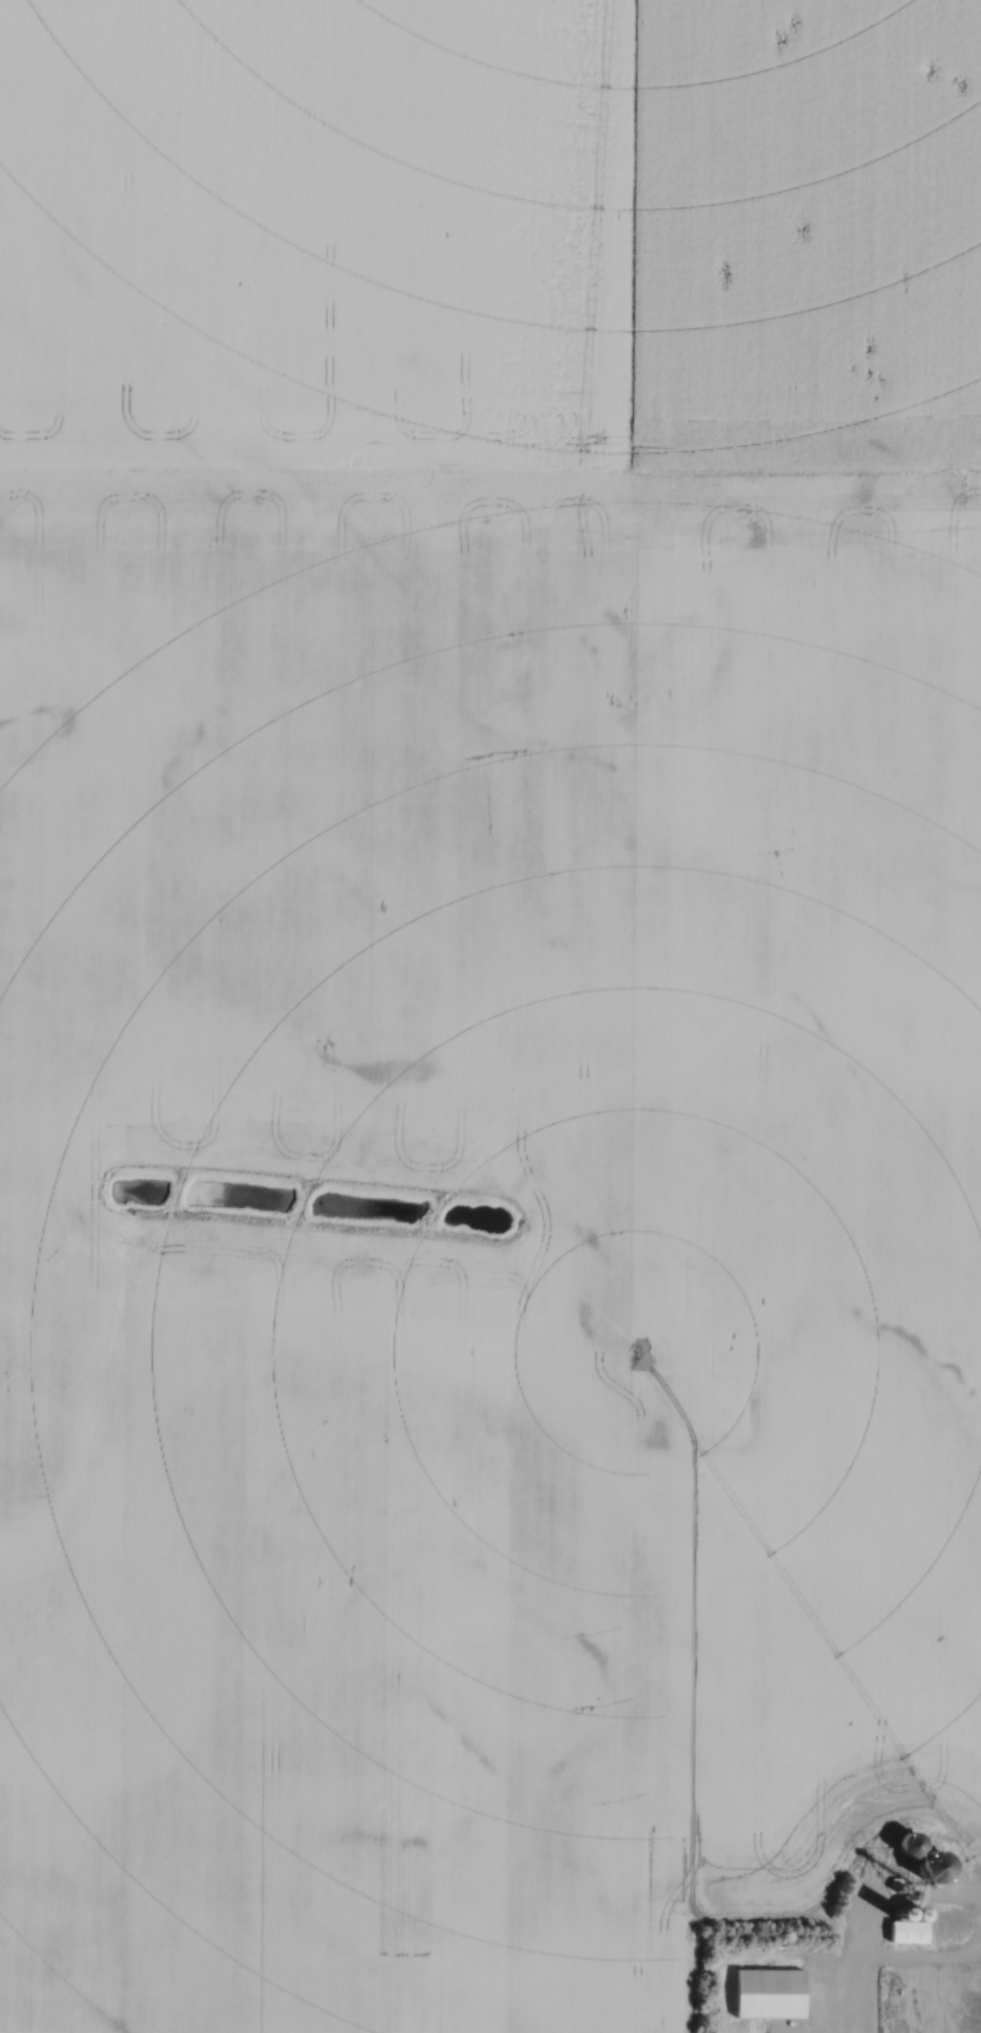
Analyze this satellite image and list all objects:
building: (905, 1932)
road: (848, 1970)
building: (766, 1994)

